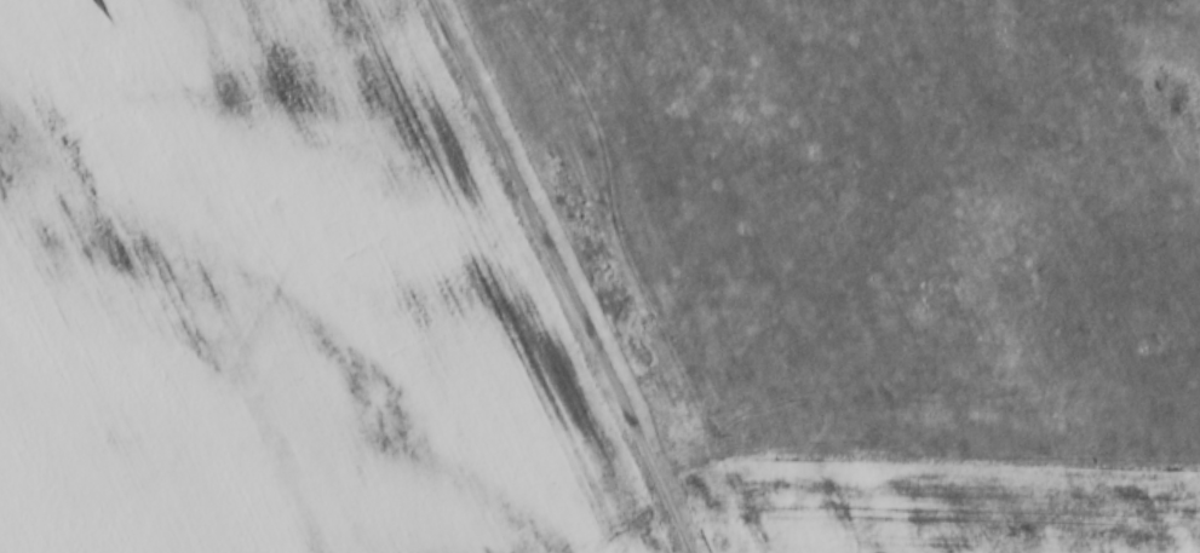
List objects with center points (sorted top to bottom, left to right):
road: (562, 276)

